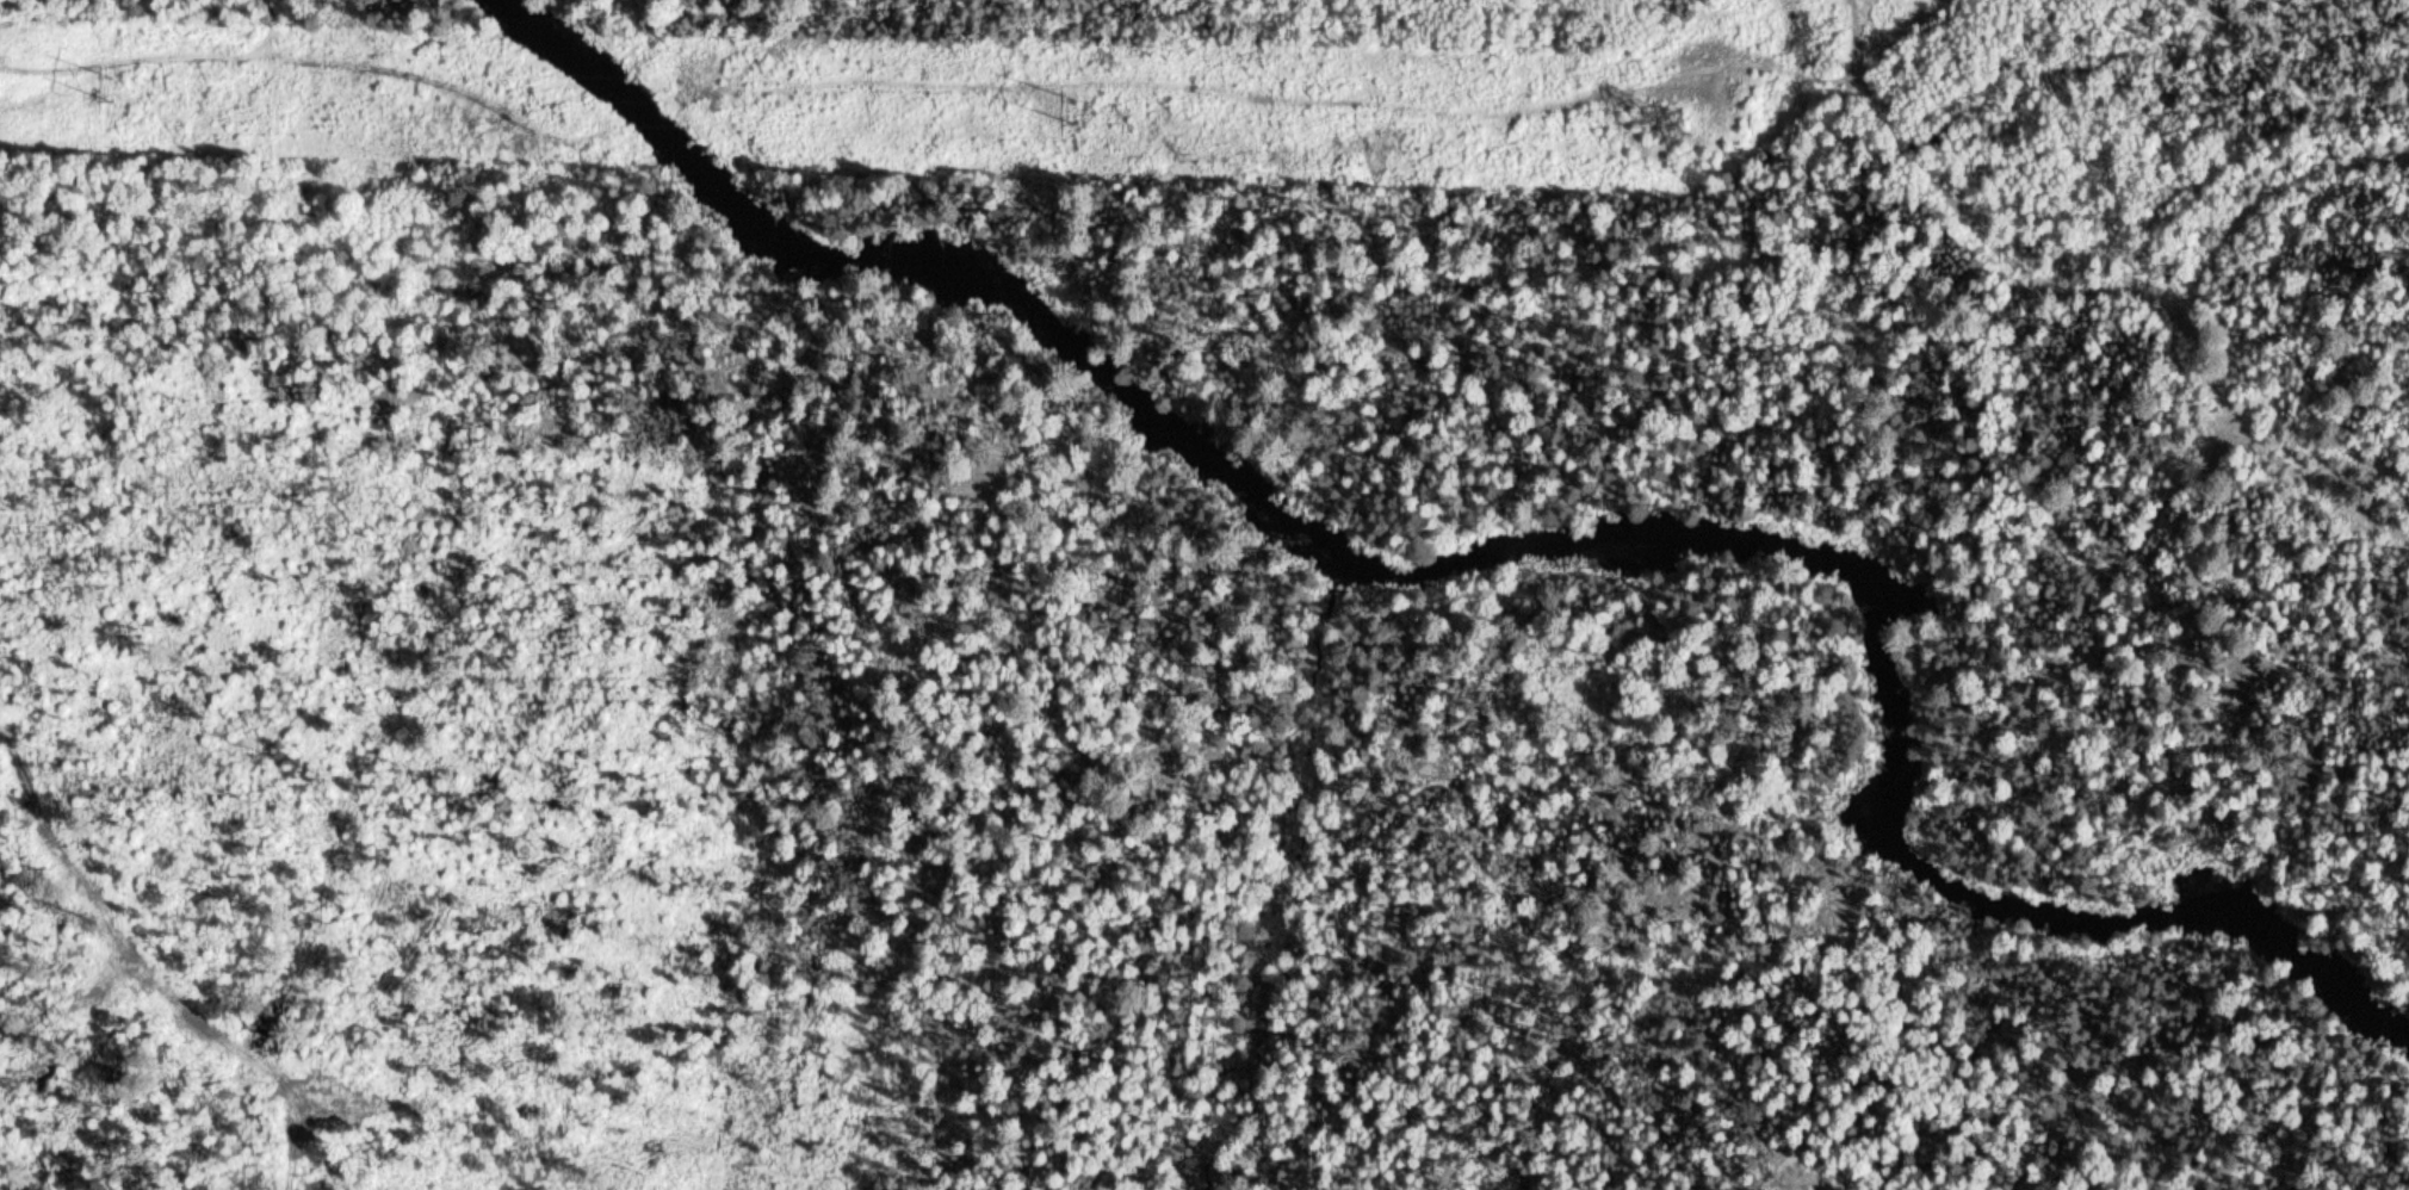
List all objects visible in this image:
power tower: (113, 82)
power tower: (1077, 109)
power tower: (1670, 125)
river: (998, 275)
river: (1968, 694)

